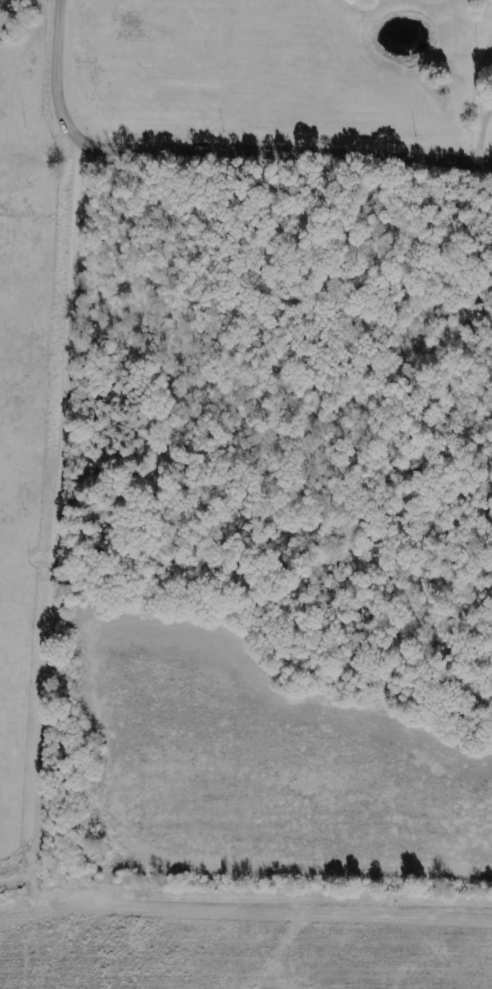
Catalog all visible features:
road: (64, 73)
road: (285, 152)
road: (57, 519)

